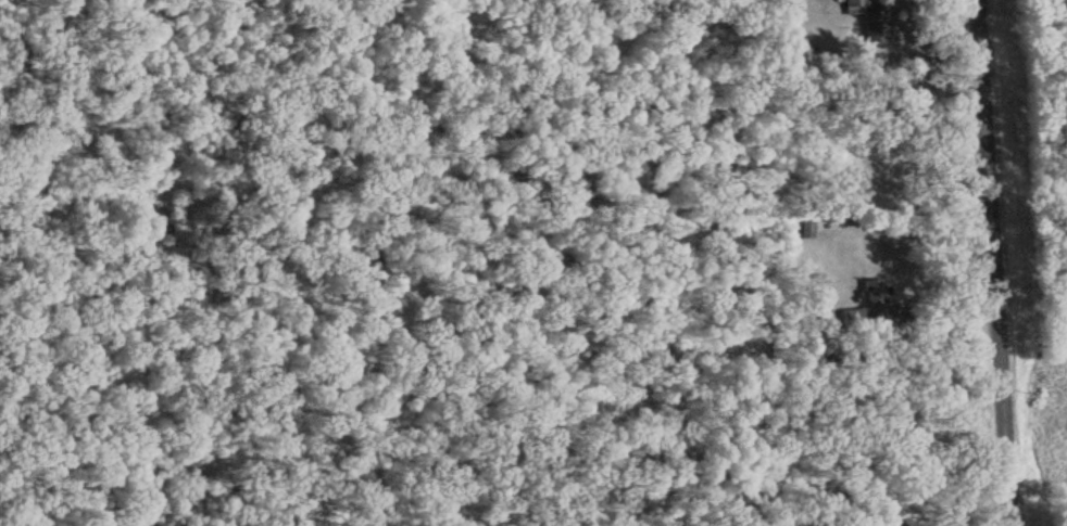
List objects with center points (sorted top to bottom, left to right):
building: (855, 5)
building: (881, 17)
road: (994, 262)
building: (877, 290)
building: (862, 316)

